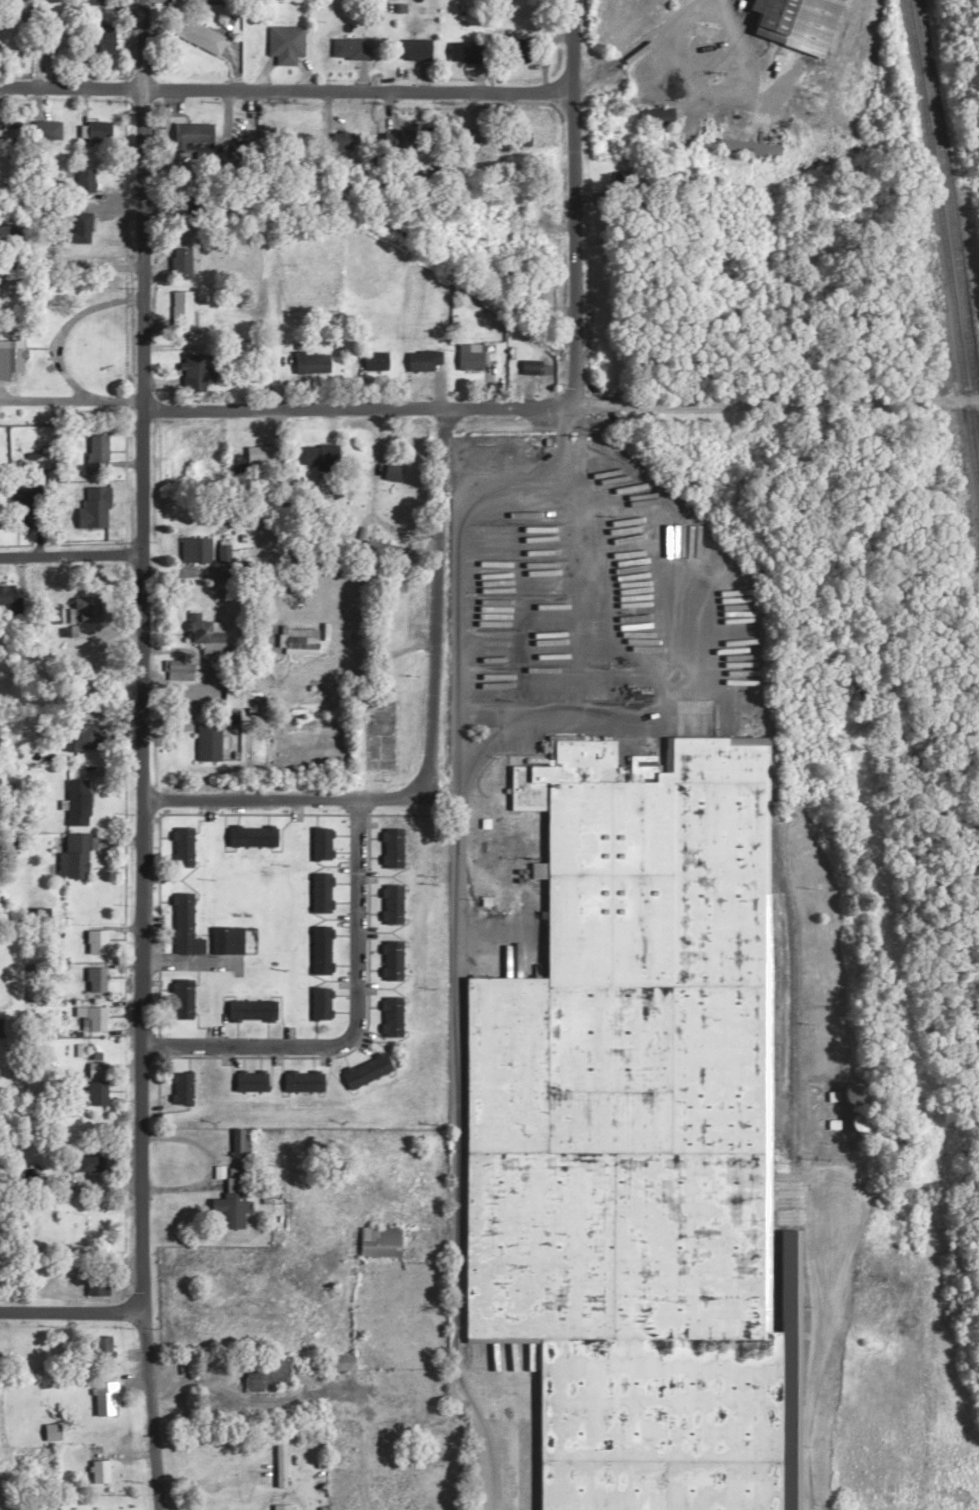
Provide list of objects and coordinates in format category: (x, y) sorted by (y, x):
building: (195, 2)
building: (790, 22)
building: (11, 30)
building: (201, 38)
building: (103, 40)
building: (286, 45)
road: (574, 45)
road: (637, 46)
building: (409, 49)
building: (350, 50)
building: (467, 51)
road: (287, 89)
building: (656, 115)
building: (10, 127)
building: (46, 128)
building: (97, 129)
building: (191, 134)
building: (401, 138)
building: (520, 138)
building: (344, 140)
building: (744, 146)
building: (83, 177)
railway: (950, 202)
road: (548, 225)
building: (79, 226)
building: (8, 232)
railway: (946, 244)
road: (575, 248)
building: (178, 261)
road: (70, 264)
building: (533, 291)
building: (180, 305)
building: (468, 355)
building: (9, 356)
building: (372, 358)
building: (421, 358)
building: (306, 360)
building: (529, 364)
building: (196, 369)
road: (560, 405)
road: (377, 443)
building: (95, 449)
building: (315, 452)
building: (248, 456)
building: (181, 458)
building: (19, 501)
building: (96, 509)
building: (191, 548)
road: (460, 549)
road: (69, 552)
building: (7, 596)
road: (435, 604)
building: (79, 608)
building: (204, 634)
building: (293, 640)
road: (668, 644)
building: (175, 668)
building: (238, 695)
building: (76, 737)
building: (205, 739)
road: (141, 755)
road: (278, 797)
building: (75, 800)
building: (248, 833)
building: (318, 841)
building: (179, 845)
building: (389, 845)
building: (72, 854)
building: (318, 890)
building: (389, 902)
building: (181, 924)
building: (223, 938)
building: (94, 940)
building: (318, 948)
building: (388, 958)
building: (93, 978)
building: (178, 997)
building: (318, 1001)
building: (247, 1009)
building: (388, 1014)
building: (90, 1015)
road: (354, 1022)
building: (77, 1048)
building: (92, 1068)
building: (362, 1069)
building: (248, 1078)
building: (299, 1079)
building: (178, 1086)
building: (93, 1092)
building: (843, 1092)
building: (852, 1121)
building: (638, 1132)
building: (78, 1162)
building: (58, 1185)
building: (228, 1201)
building: (376, 1239)
road: (72, 1309)
building: (100, 1348)
building: (337, 1361)
building: (261, 1370)
building: (102, 1397)
building: (97, 1470)
building: (280, 1506)
building: (217, 1508)

